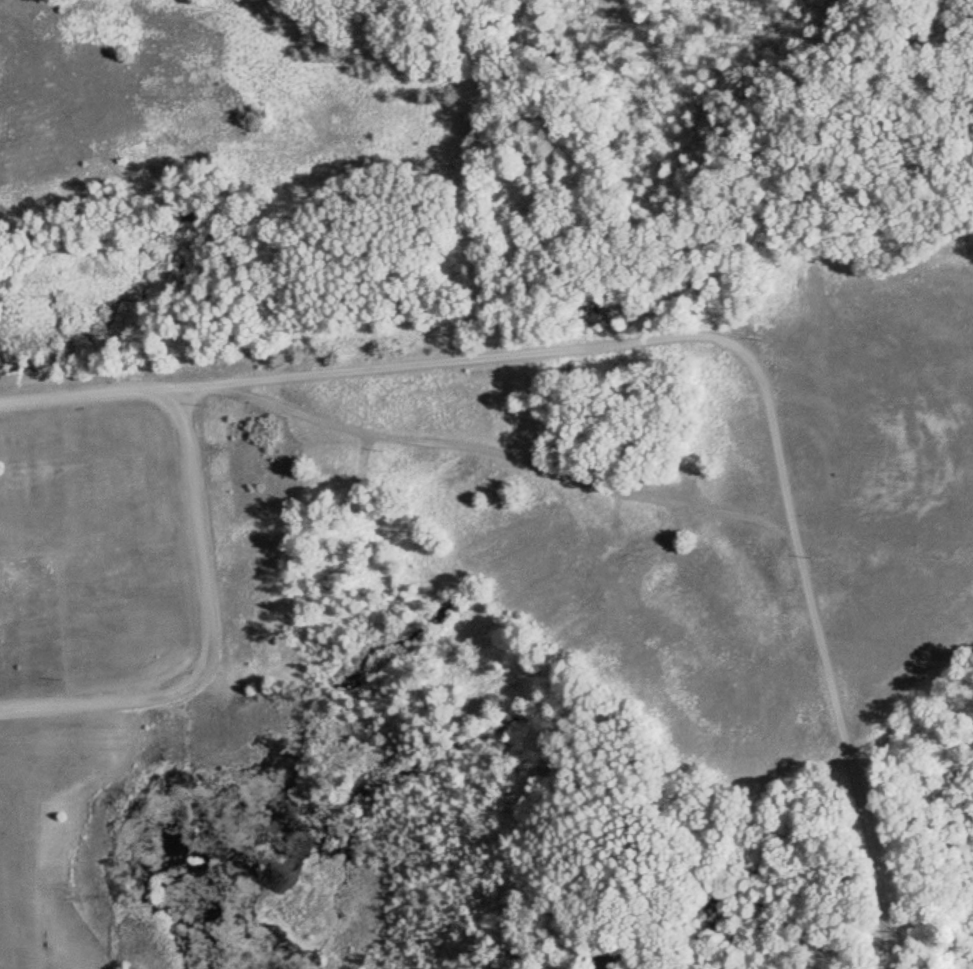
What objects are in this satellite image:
road: (762, 379)
road: (90, 390)
road: (212, 635)

